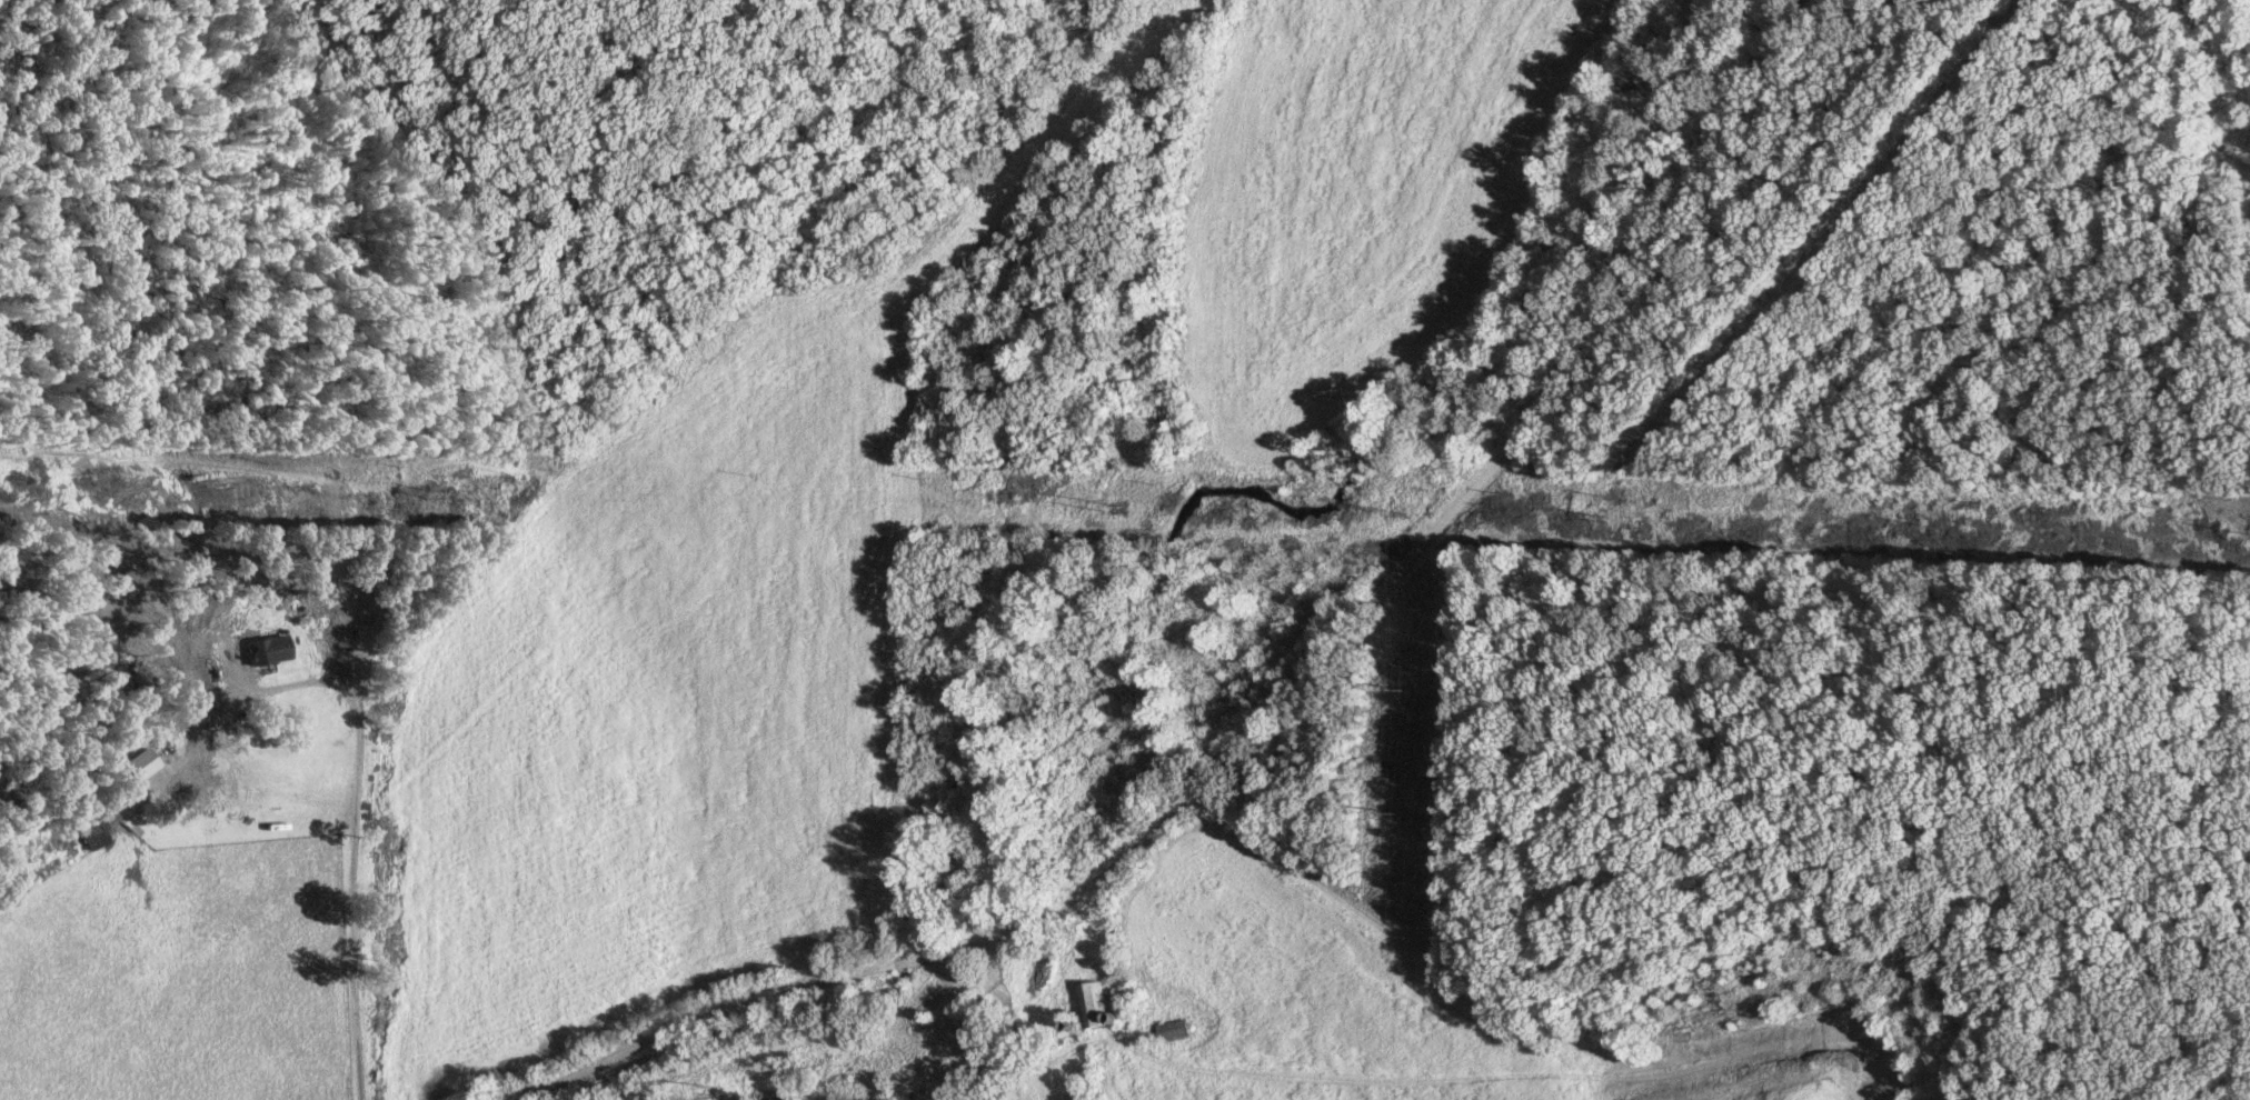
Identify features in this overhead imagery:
building: (250, 652)
road: (1286, 698)
building: (96, 829)
road: (350, 841)
building: (1094, 1006)
road: (996, 1010)
building: (1172, 1030)

